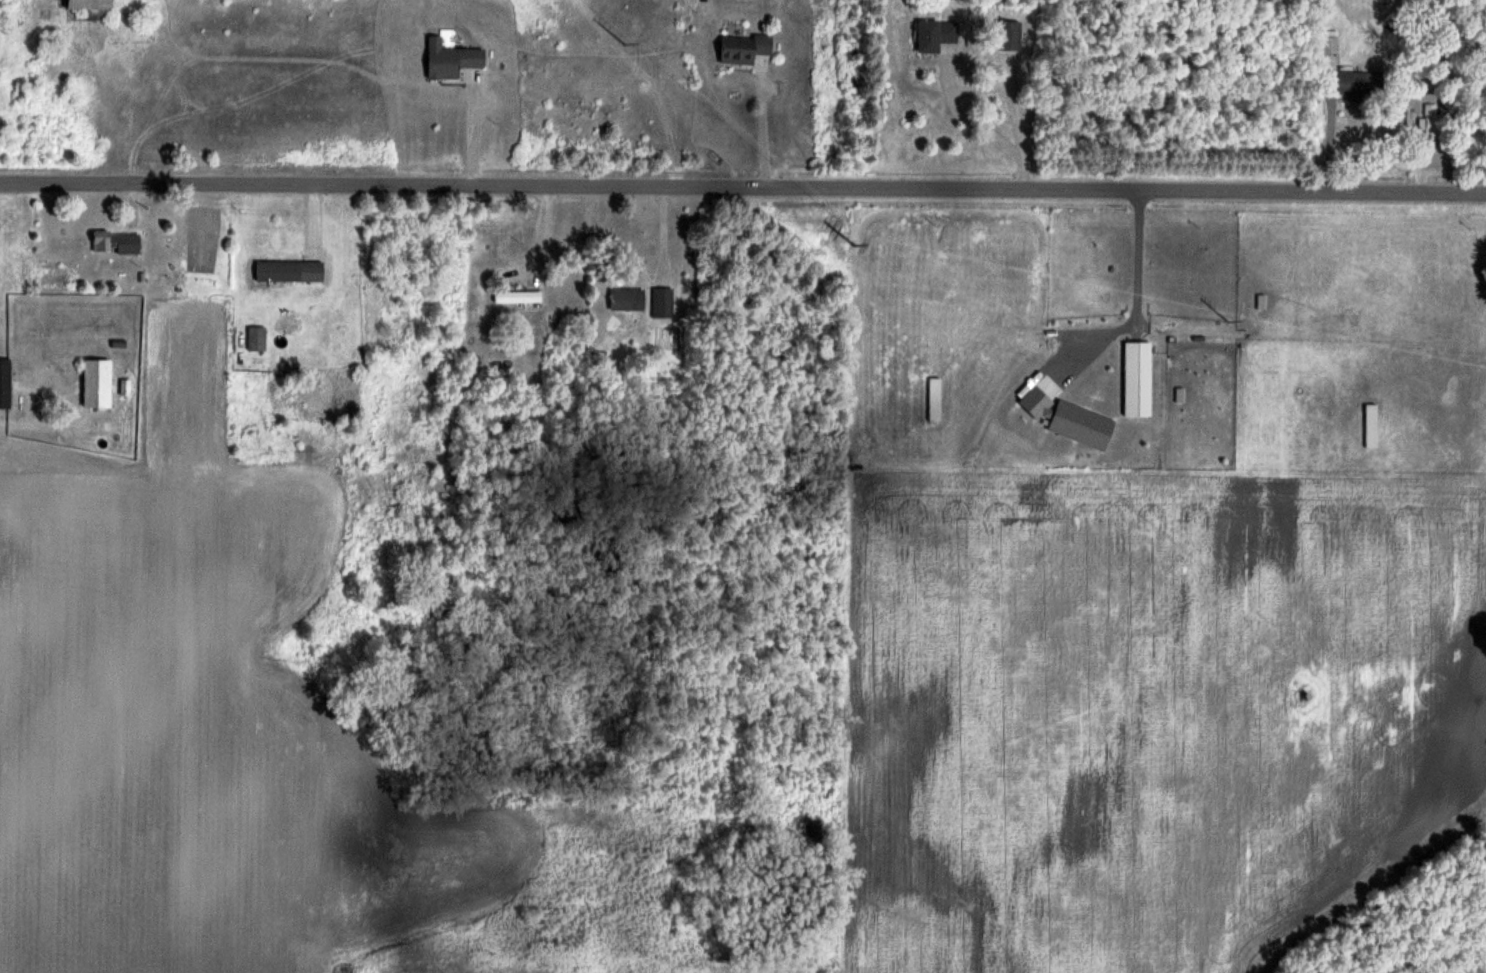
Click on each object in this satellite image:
building: (88, 4)
building: (935, 33)
building: (1009, 33)
building: (1329, 41)
power tower: (624, 42)
building: (743, 47)
building: (450, 58)
building: (1356, 81)
building: (1429, 118)
road: (471, 131)
road: (742, 189)
building: (116, 241)
power tower: (857, 245)
building: (289, 270)
building: (517, 295)
building: (627, 298)
building: (662, 301)
power tower: (1231, 320)
building: (256, 337)
building: (1137, 378)
building: (96, 381)
building: (4, 382)
building: (934, 398)
building: (1370, 424)

